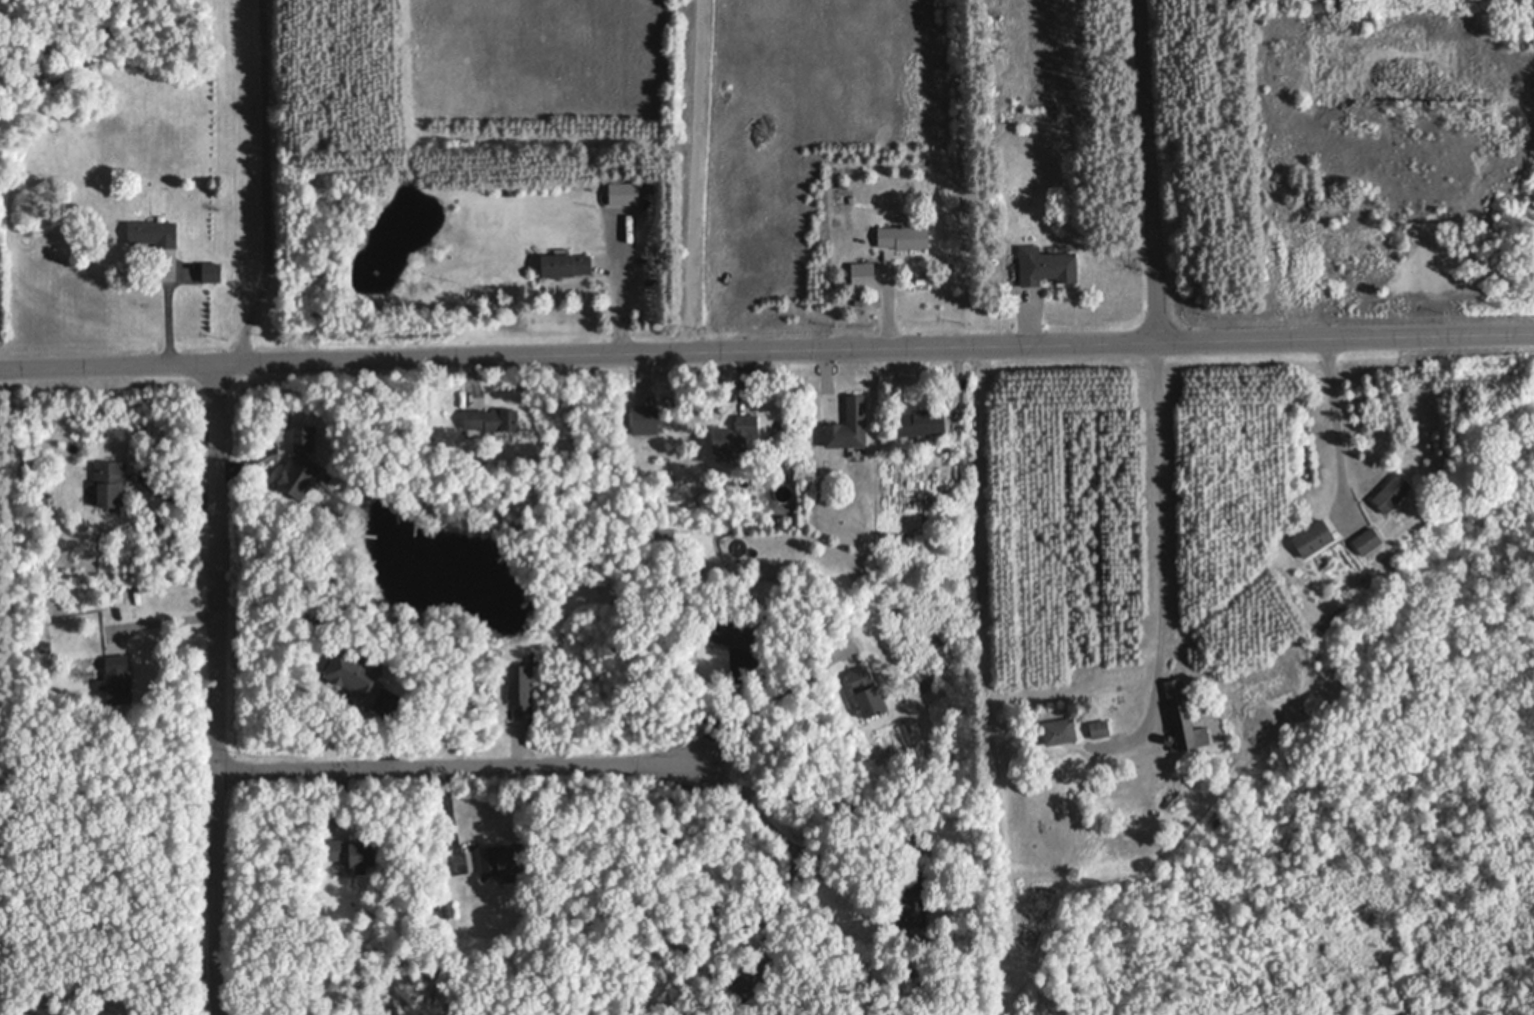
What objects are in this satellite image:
building: (1345, 0)
building: (1317, 5)
building: (1027, 115)
road: (1147, 172)
road: (698, 176)
road: (268, 183)
building: (844, 183)
building: (648, 188)
building: (509, 190)
building: (625, 192)
building: (155, 231)
building: (904, 236)
building: (567, 264)
building: (1046, 265)
building: (213, 272)
building: (860, 275)
road: (621, 284)
building: (860, 300)
road: (766, 350)
building: (492, 418)
building: (642, 420)
building: (923, 421)
building: (850, 423)
road: (1338, 429)
building: (146, 431)
building: (735, 434)
building: (301, 462)
building: (110, 482)
building: (1392, 492)
road: (1162, 537)
building: (1314, 537)
building: (1368, 540)
building: (690, 588)
building: (727, 633)
building: (46, 645)
building: (355, 674)
building: (119, 678)
building: (101, 683)
road: (219, 689)
building: (519, 691)
building: (868, 692)
road: (769, 706)
building: (1183, 717)
building: (1100, 726)
building: (1060, 729)
building: (1169, 738)
road: (456, 767)
road: (814, 796)
building: (1174, 797)
building: (354, 853)
building: (503, 861)
building: (472, 862)
building: (915, 896)
building: (450, 909)
building: (741, 976)

